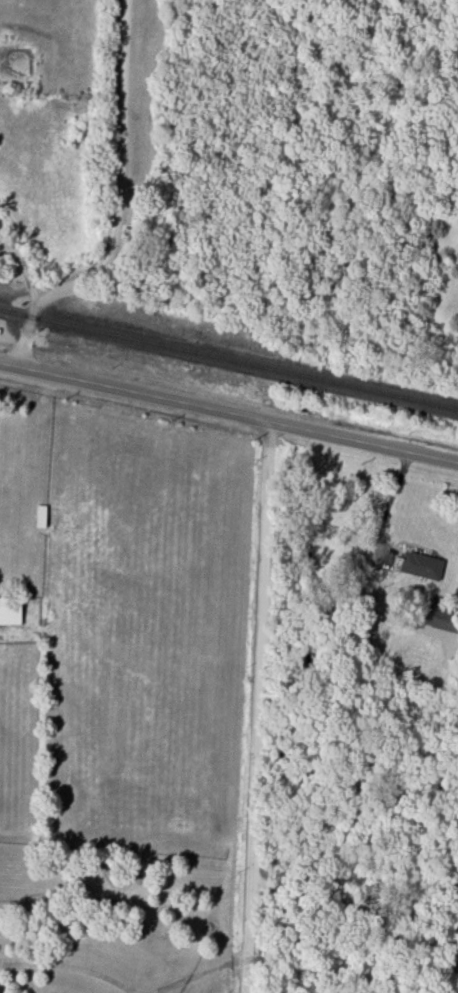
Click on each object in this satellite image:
road: (117, 207)
road: (21, 264)
railway: (228, 360)
road: (229, 415)
road: (383, 507)
building: (41, 518)
building: (421, 566)
building: (10, 612)
building: (442, 616)
road: (258, 708)
road: (354, 902)
road: (126, 987)

